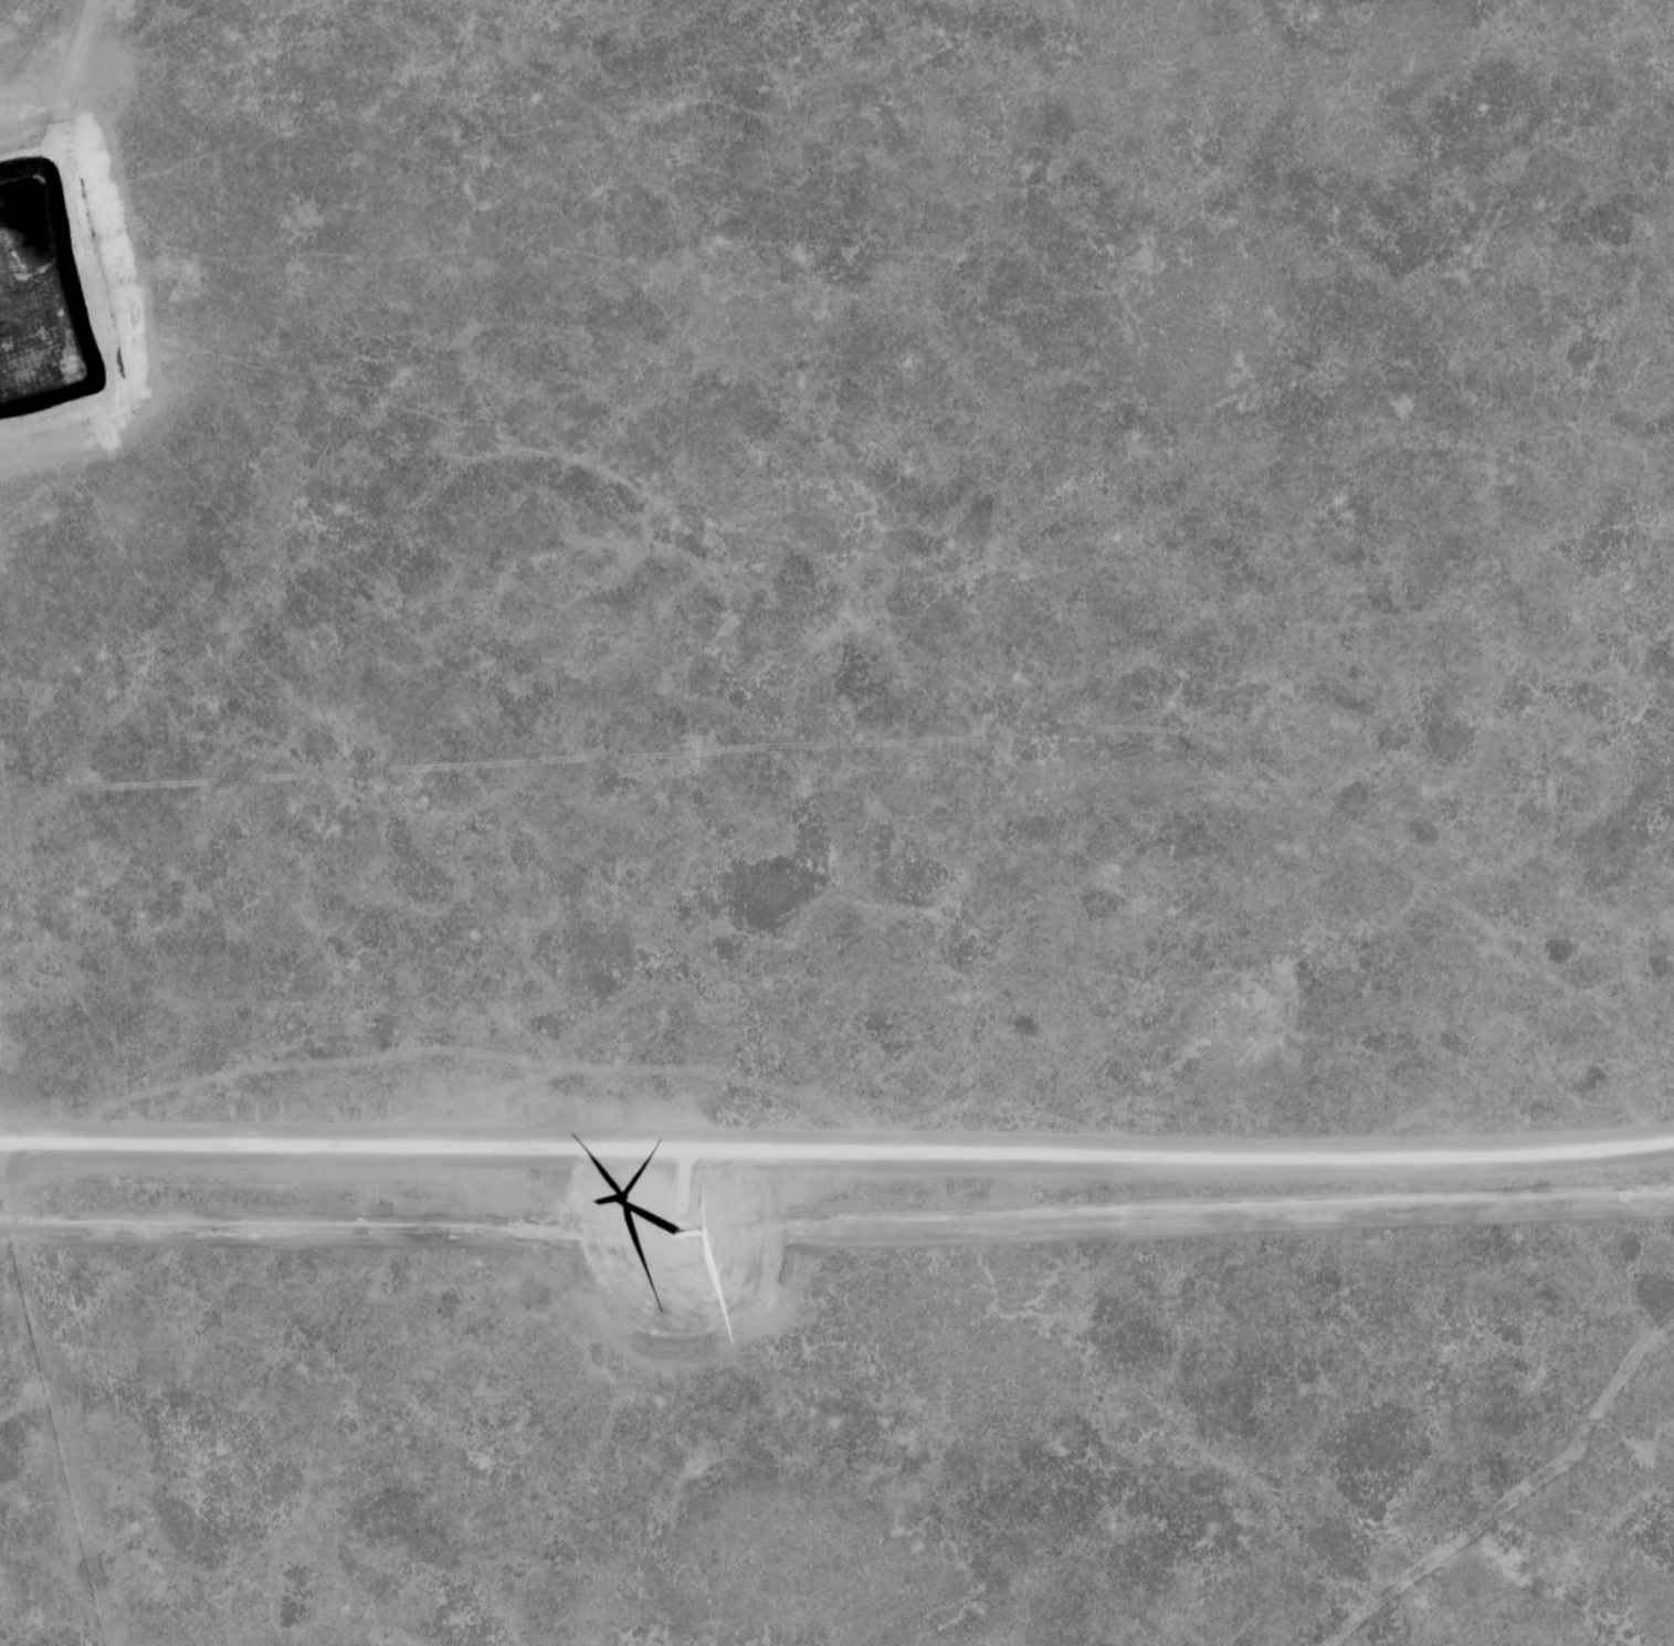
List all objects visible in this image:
wind turbine: (671, 1220)

